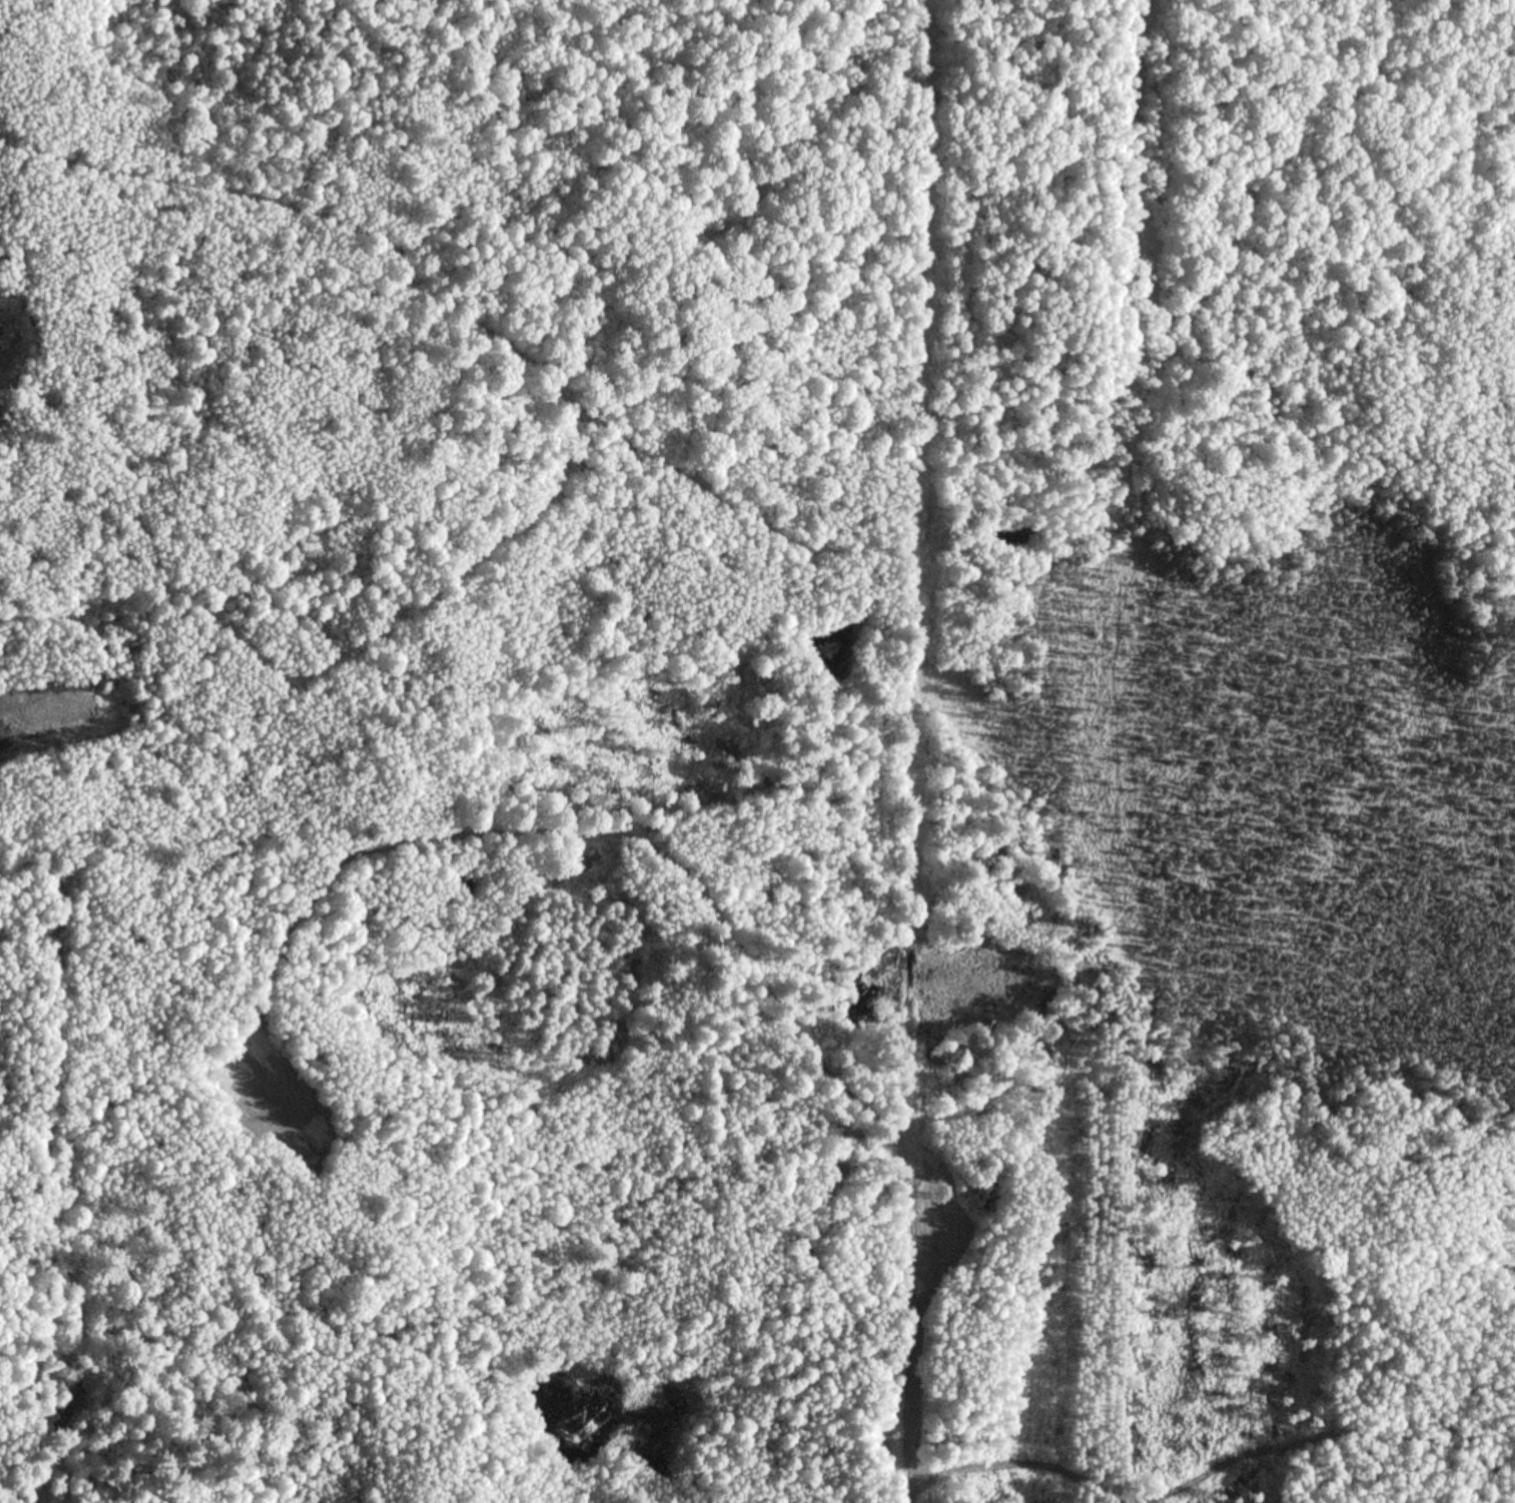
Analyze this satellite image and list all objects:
quarry: (12, 335)

